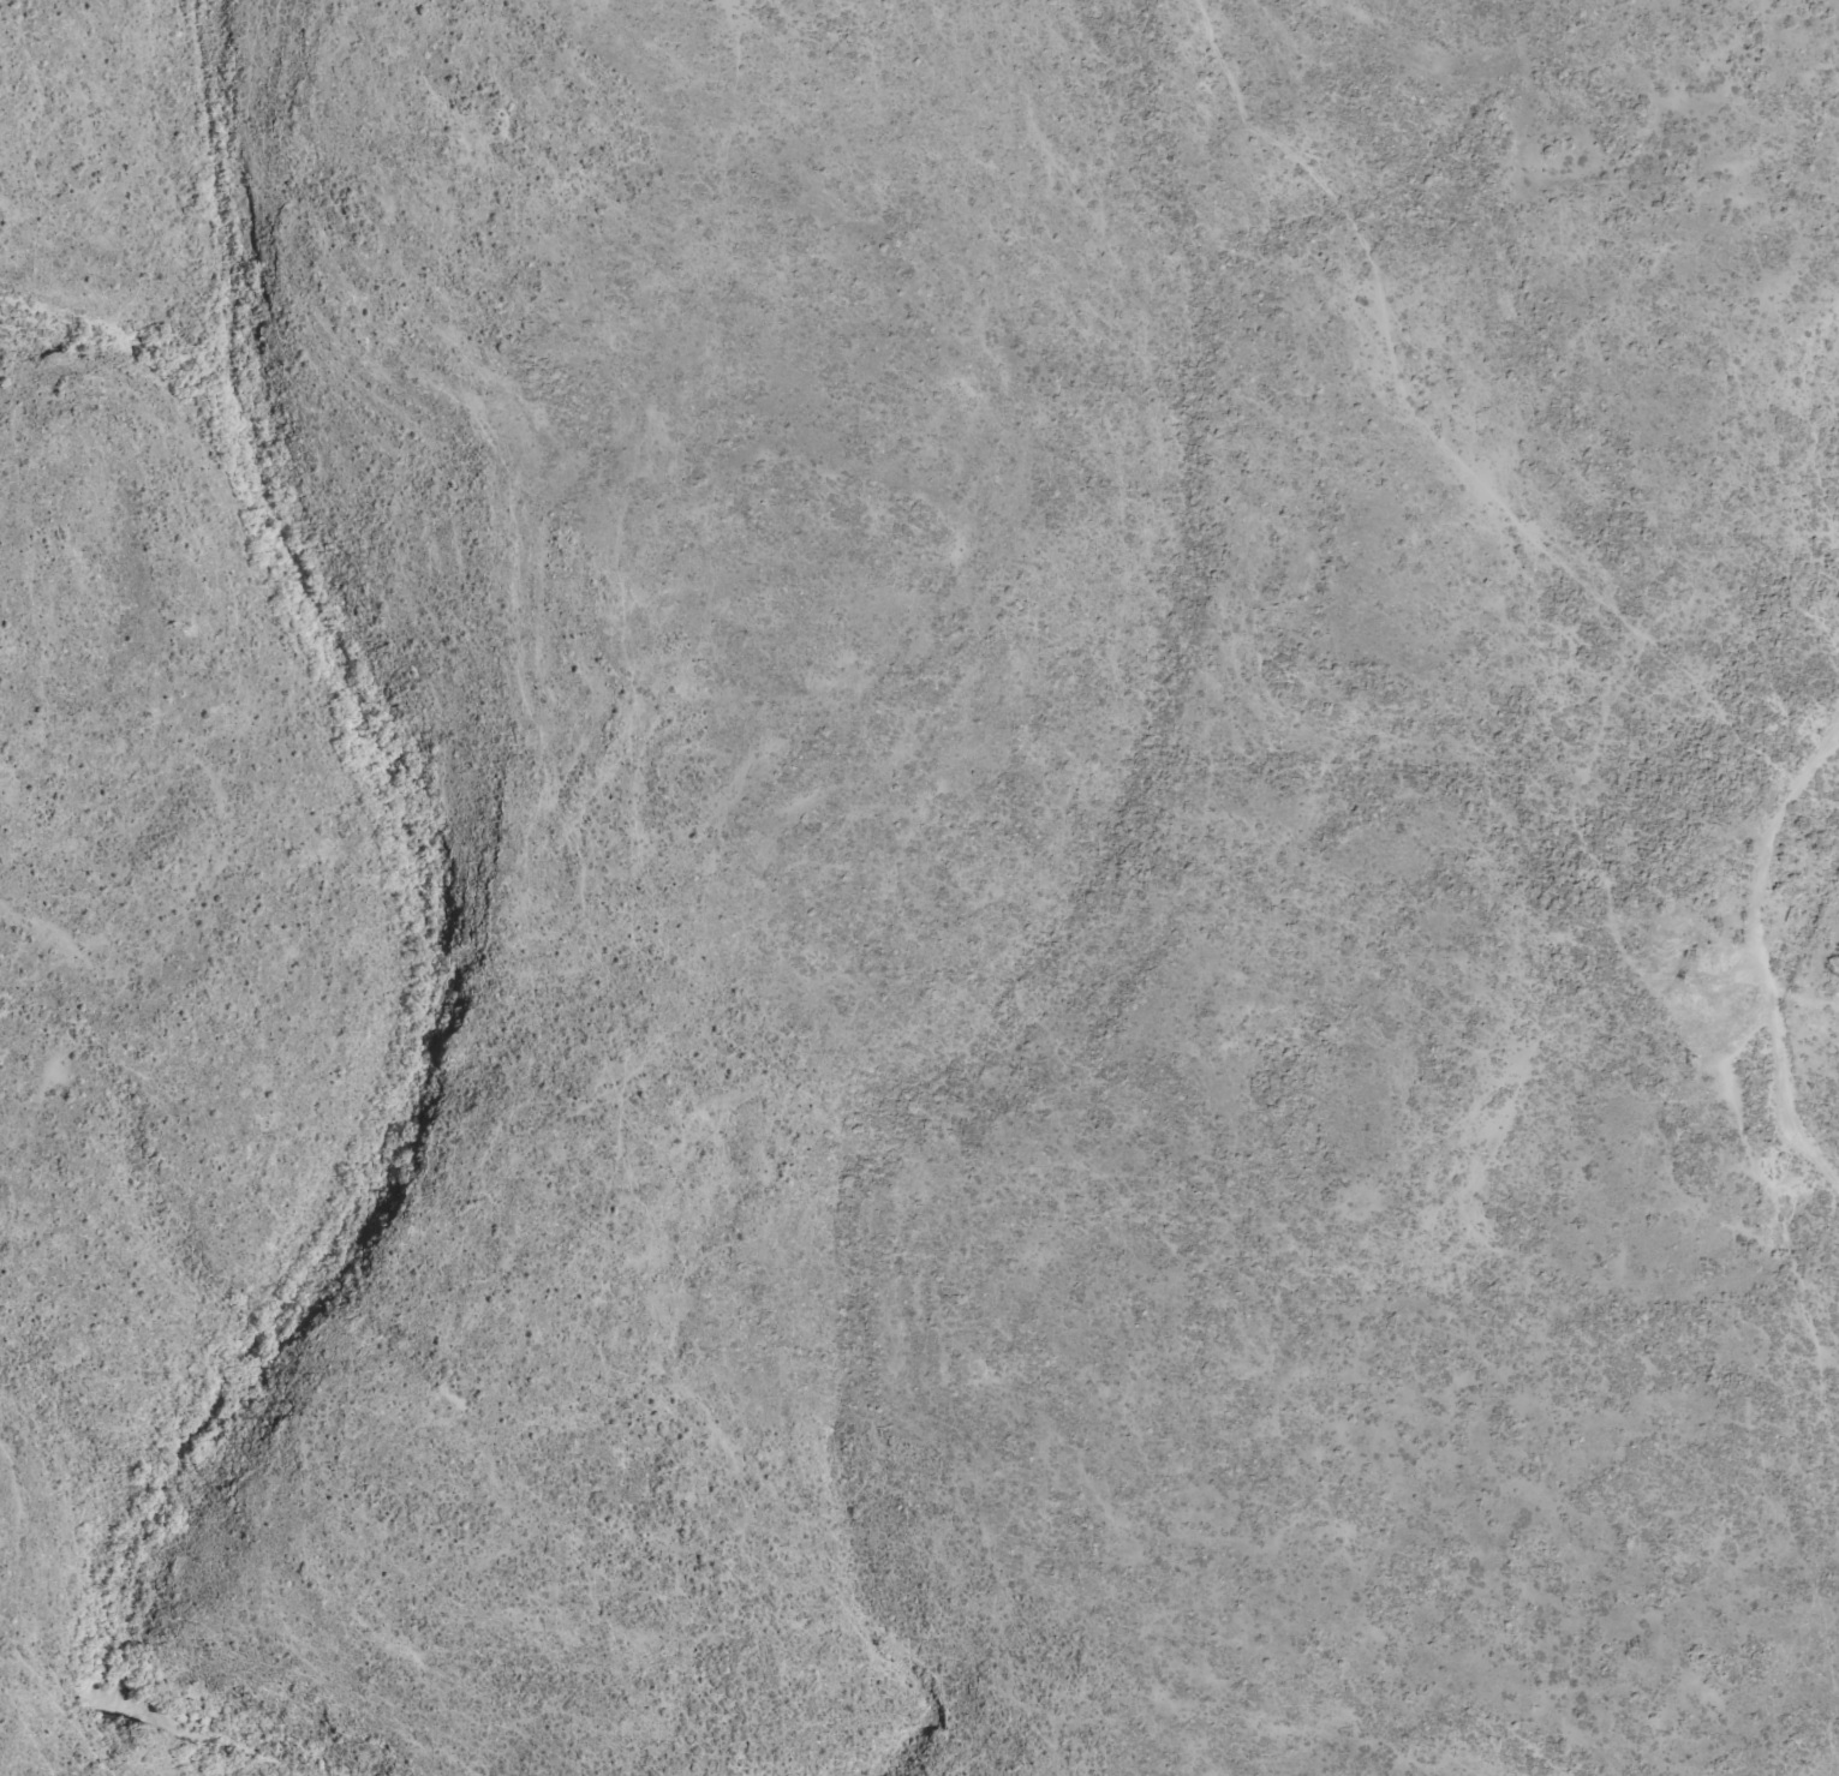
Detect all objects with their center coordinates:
road: (1473, 459)

